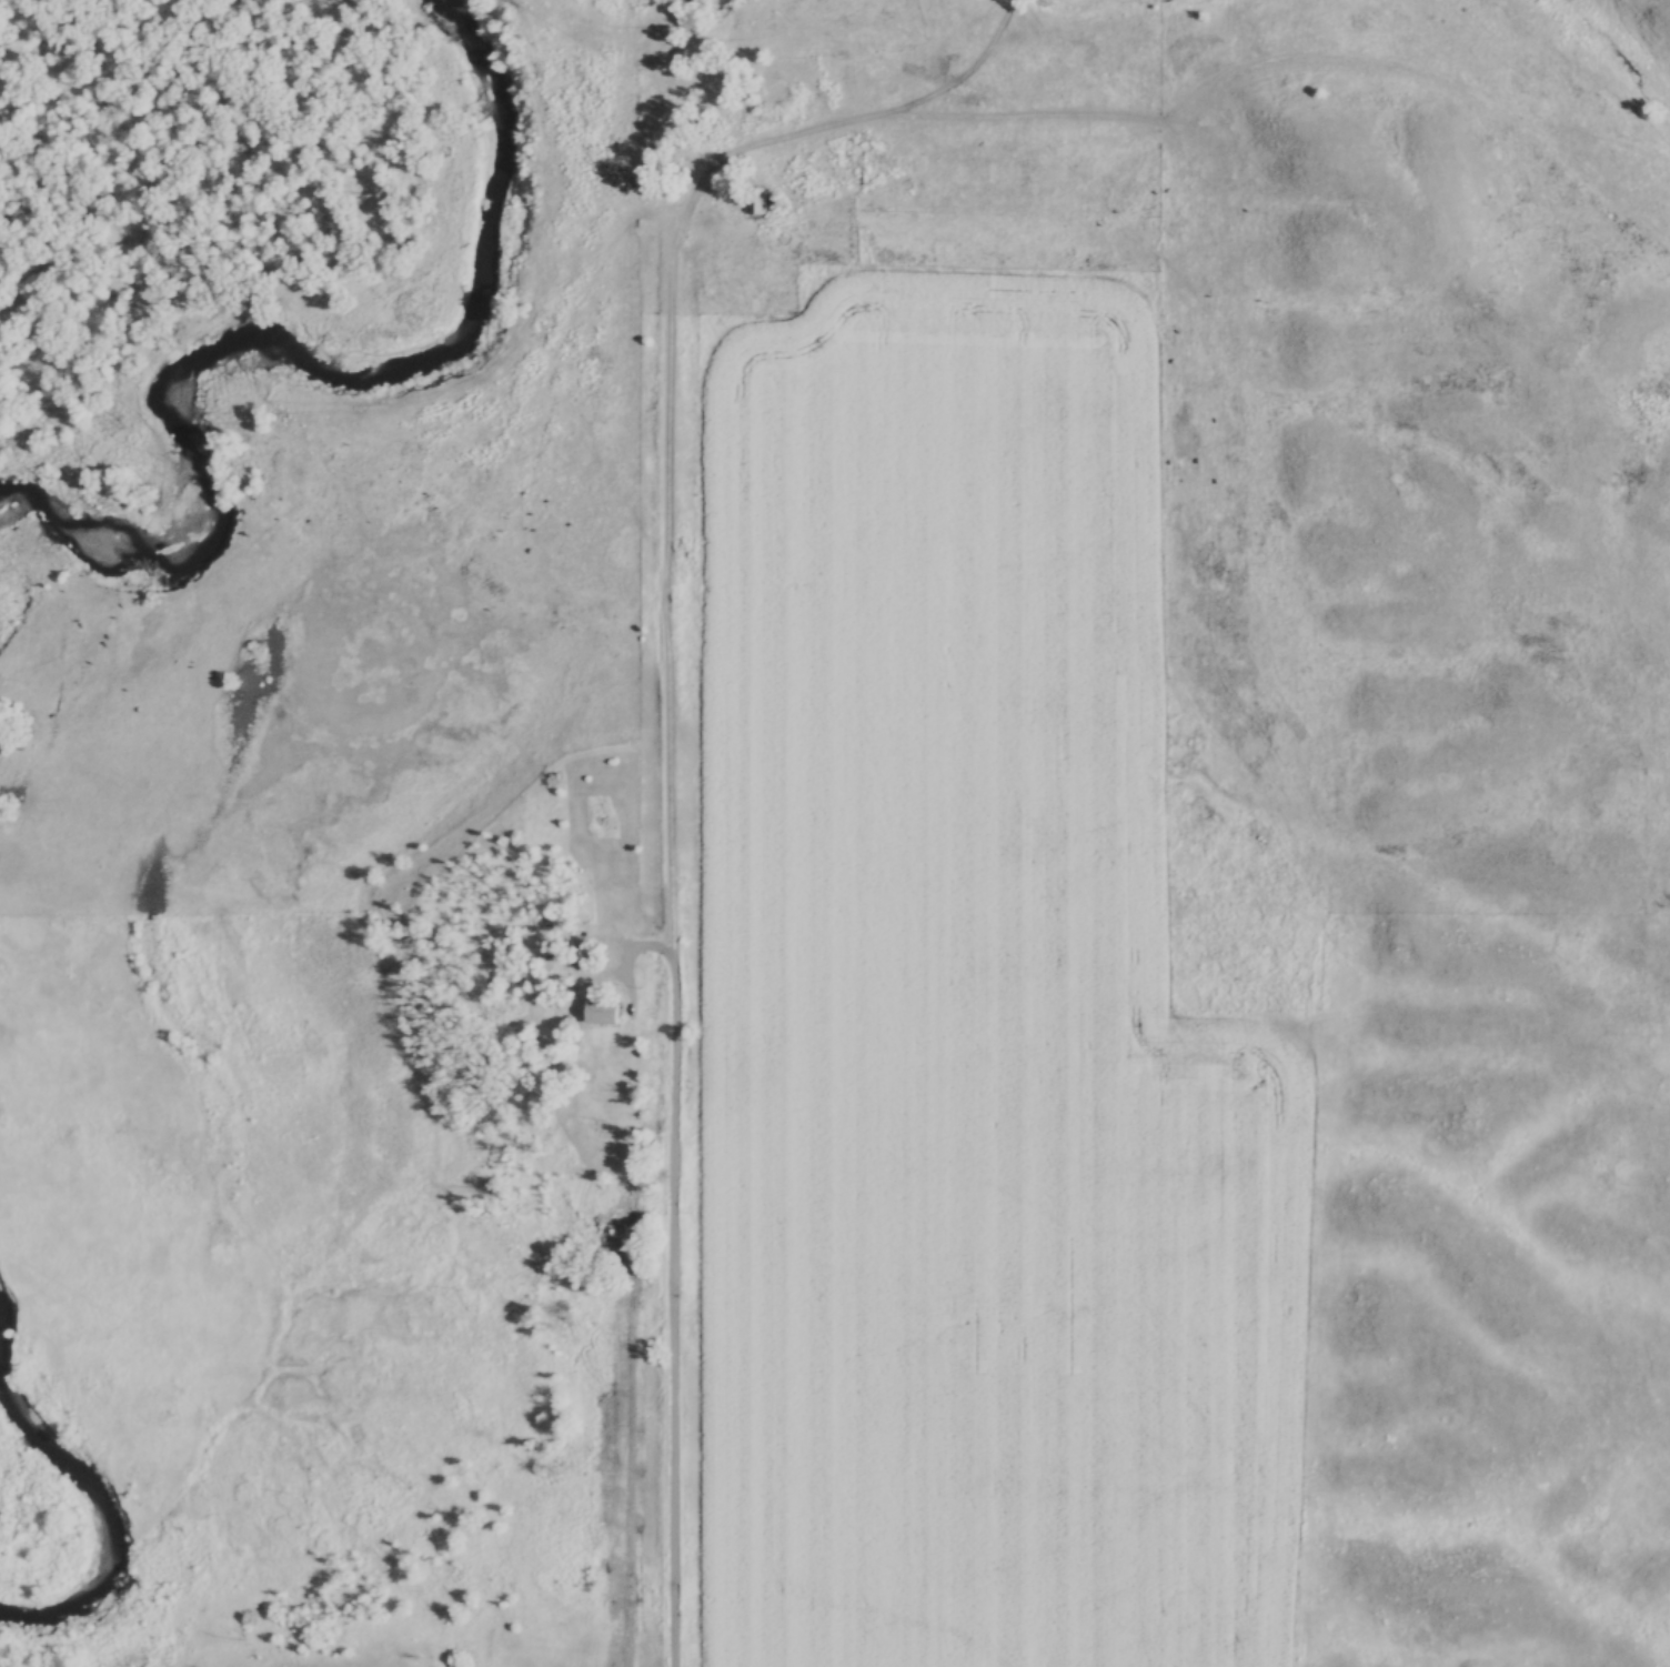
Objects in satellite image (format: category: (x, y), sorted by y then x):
building: (754, 201)
river: (323, 357)
river: (10, 655)
road: (676, 994)
building: (595, 1013)
building: (603, 1131)
river: (7, 1330)
river: (110, 1520)

